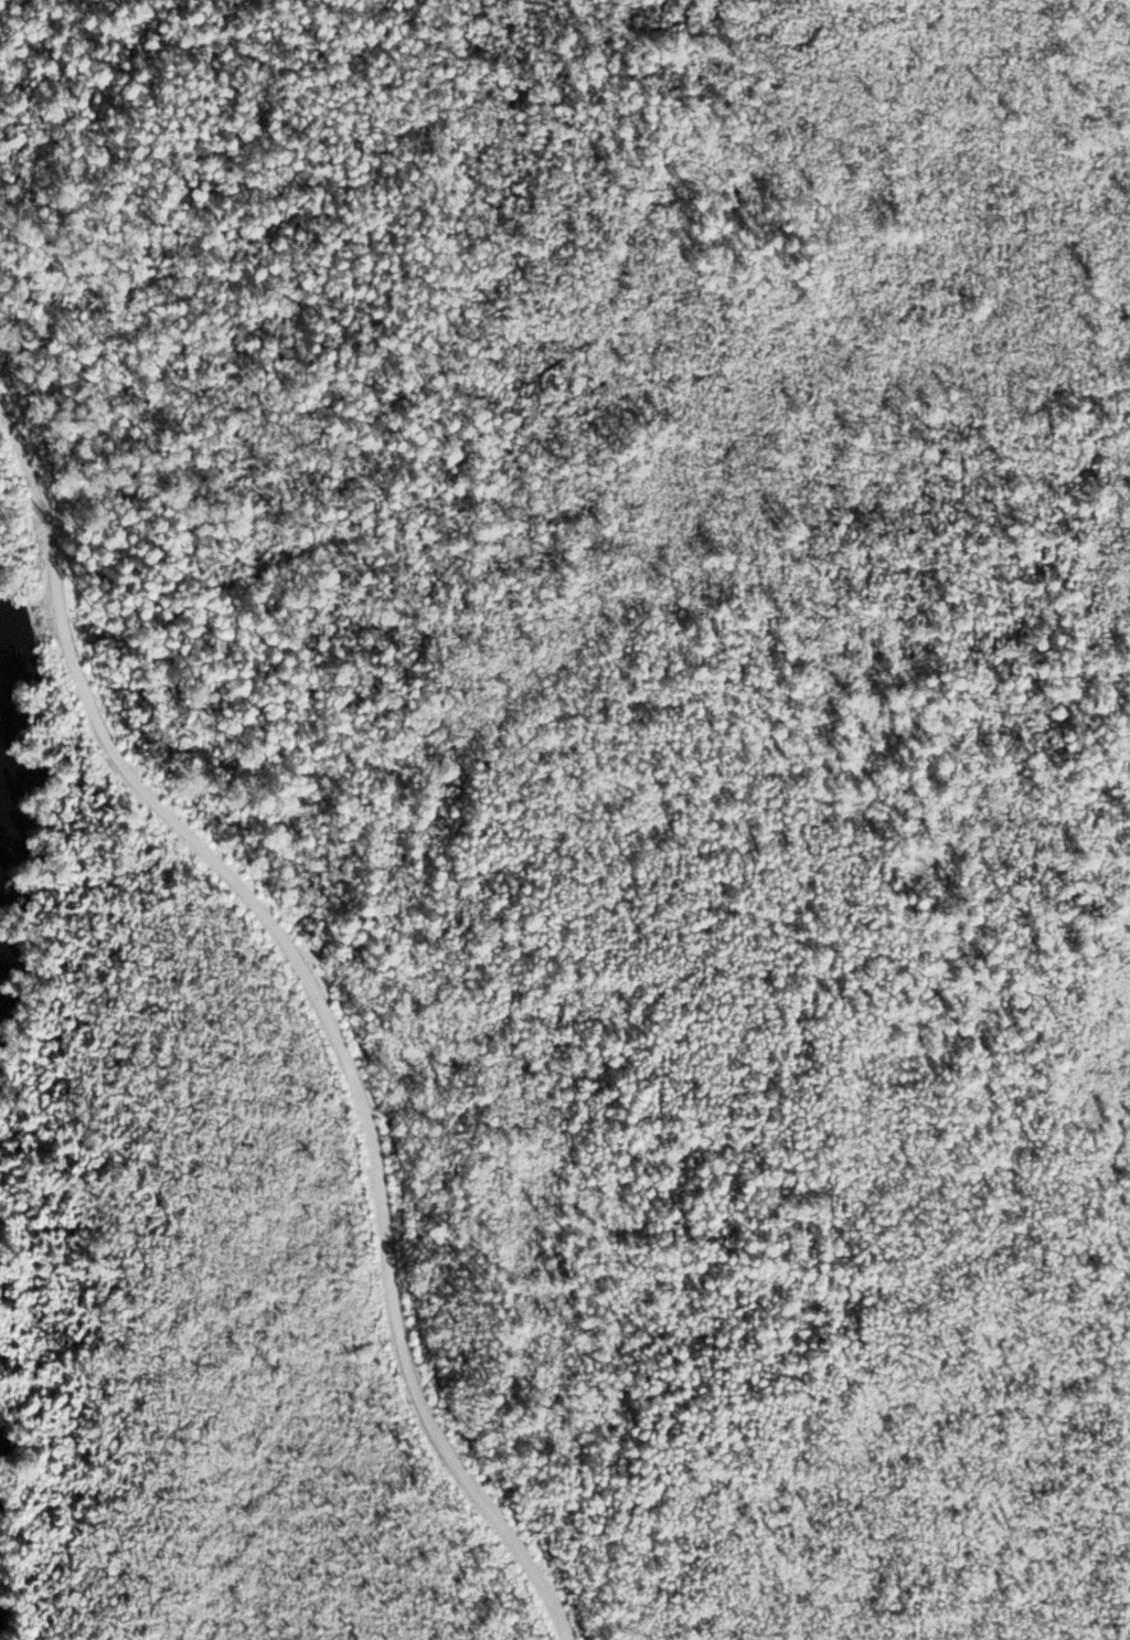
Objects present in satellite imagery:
road: (318, 1003)

